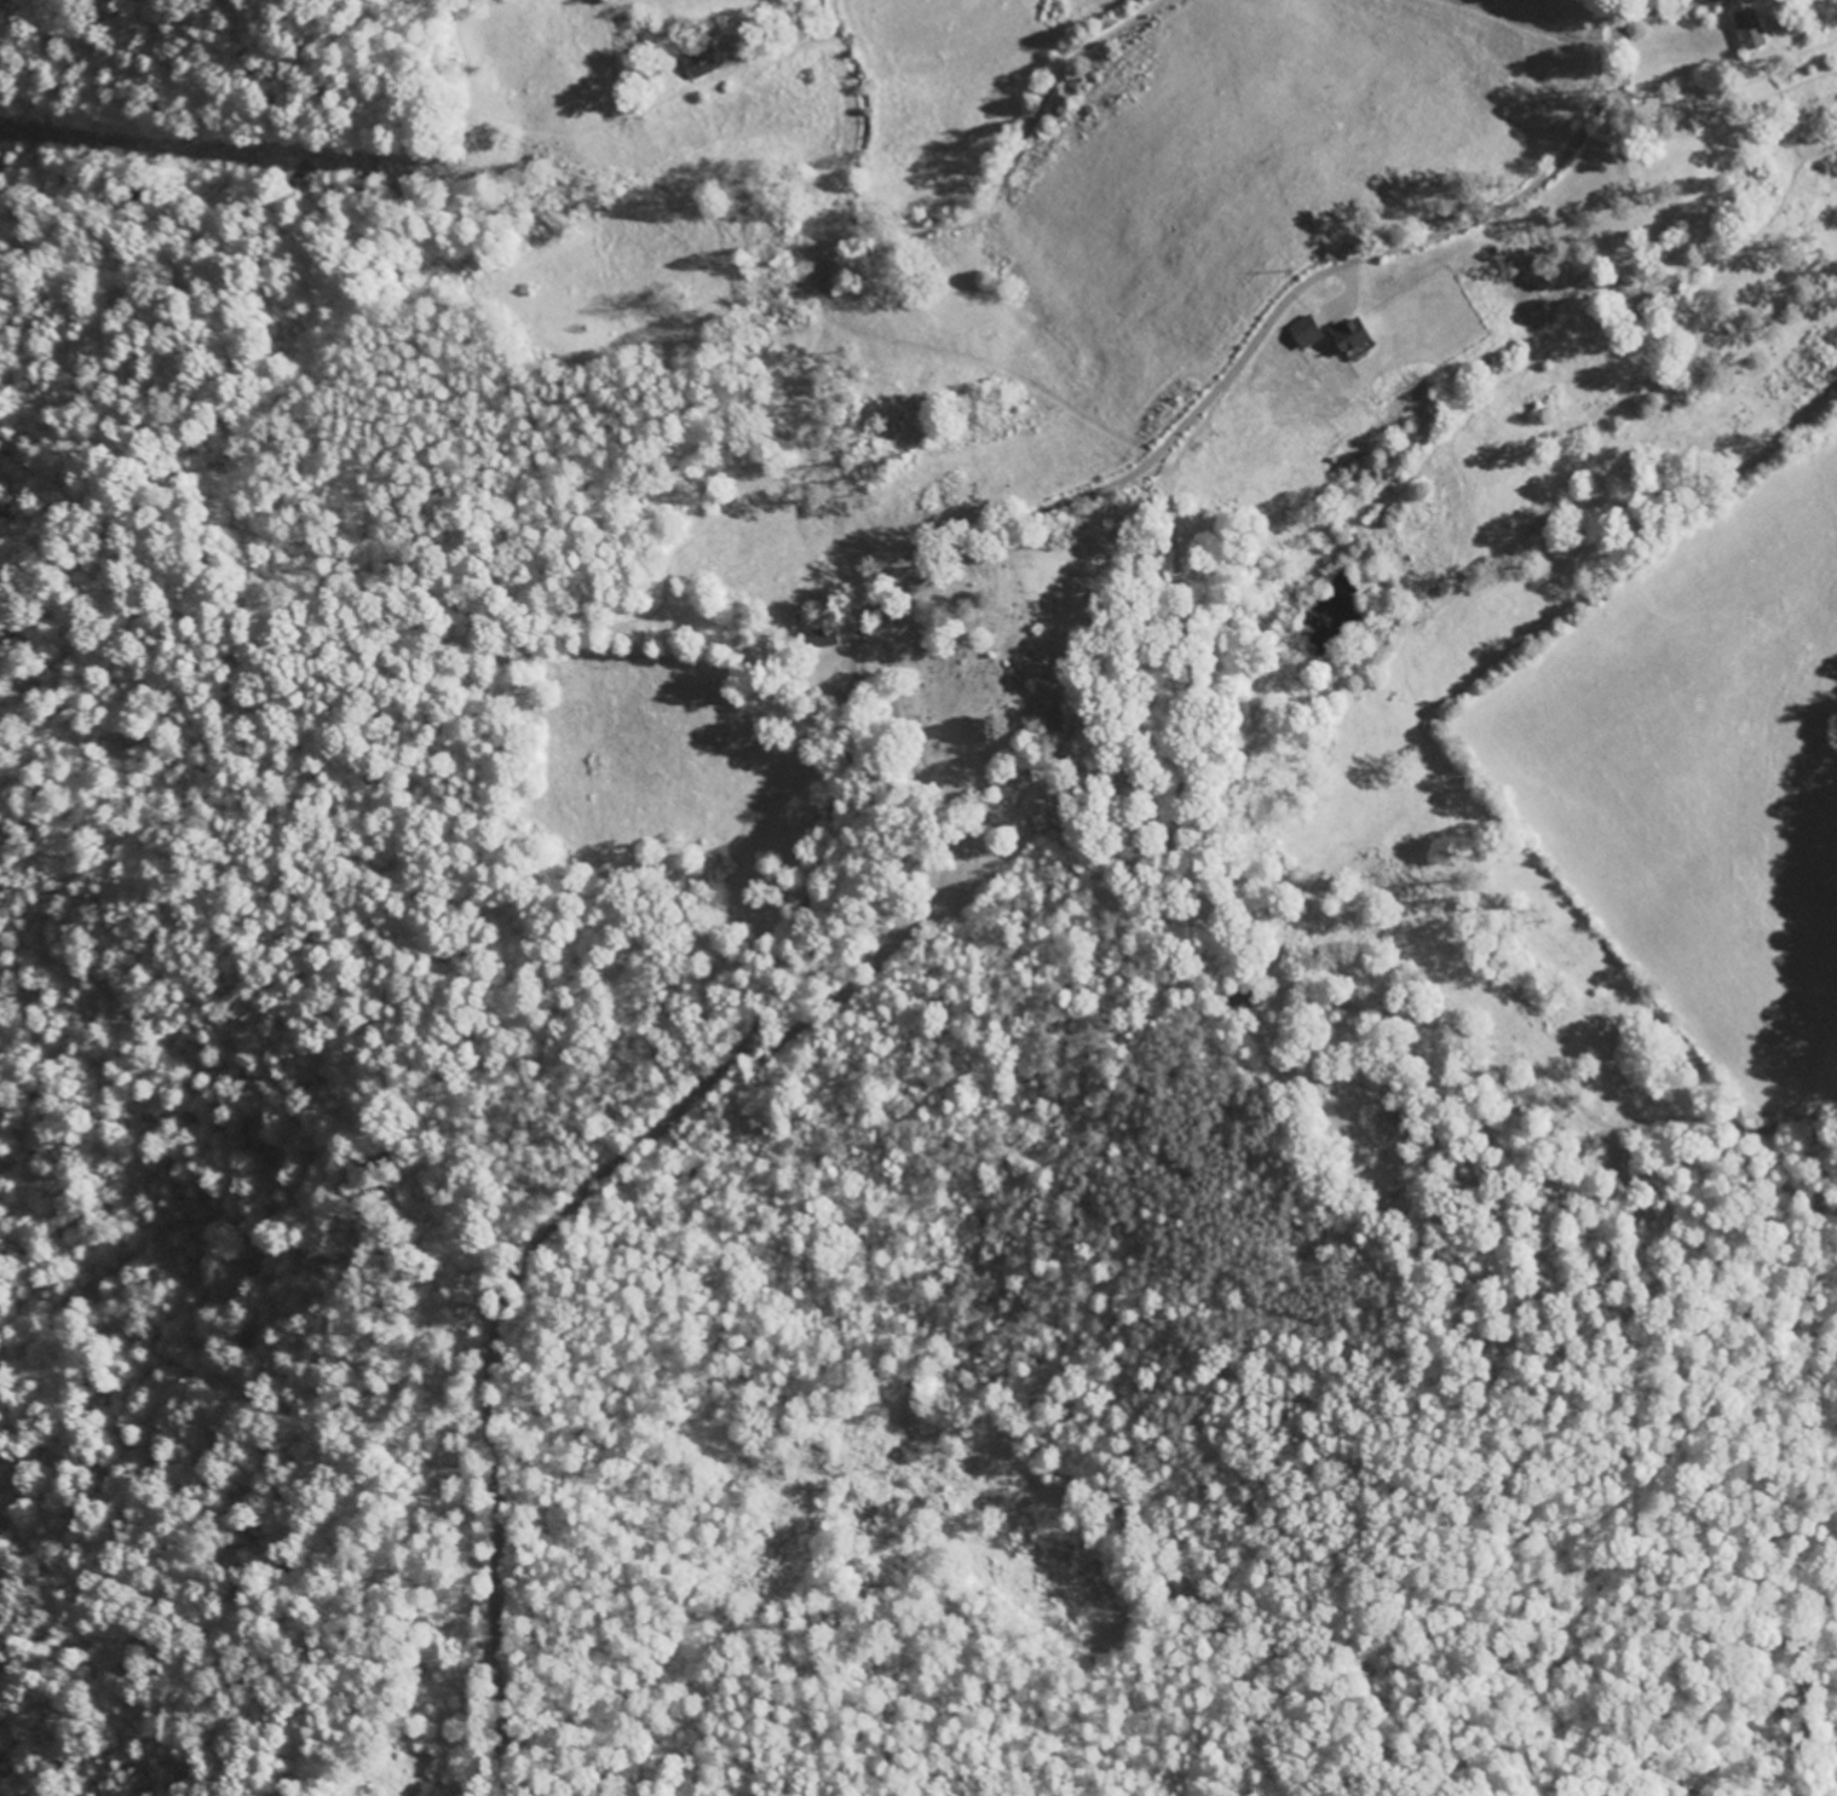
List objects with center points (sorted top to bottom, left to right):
building: (1739, 0)
road: (1605, 10)
road: (1683, 12)
building: (1753, 27)
building: (706, 62)
road: (837, 286)
building: (1312, 333)
building: (1358, 336)
park: (1004, 703)
road: (850, 764)
road: (1583, 1735)

